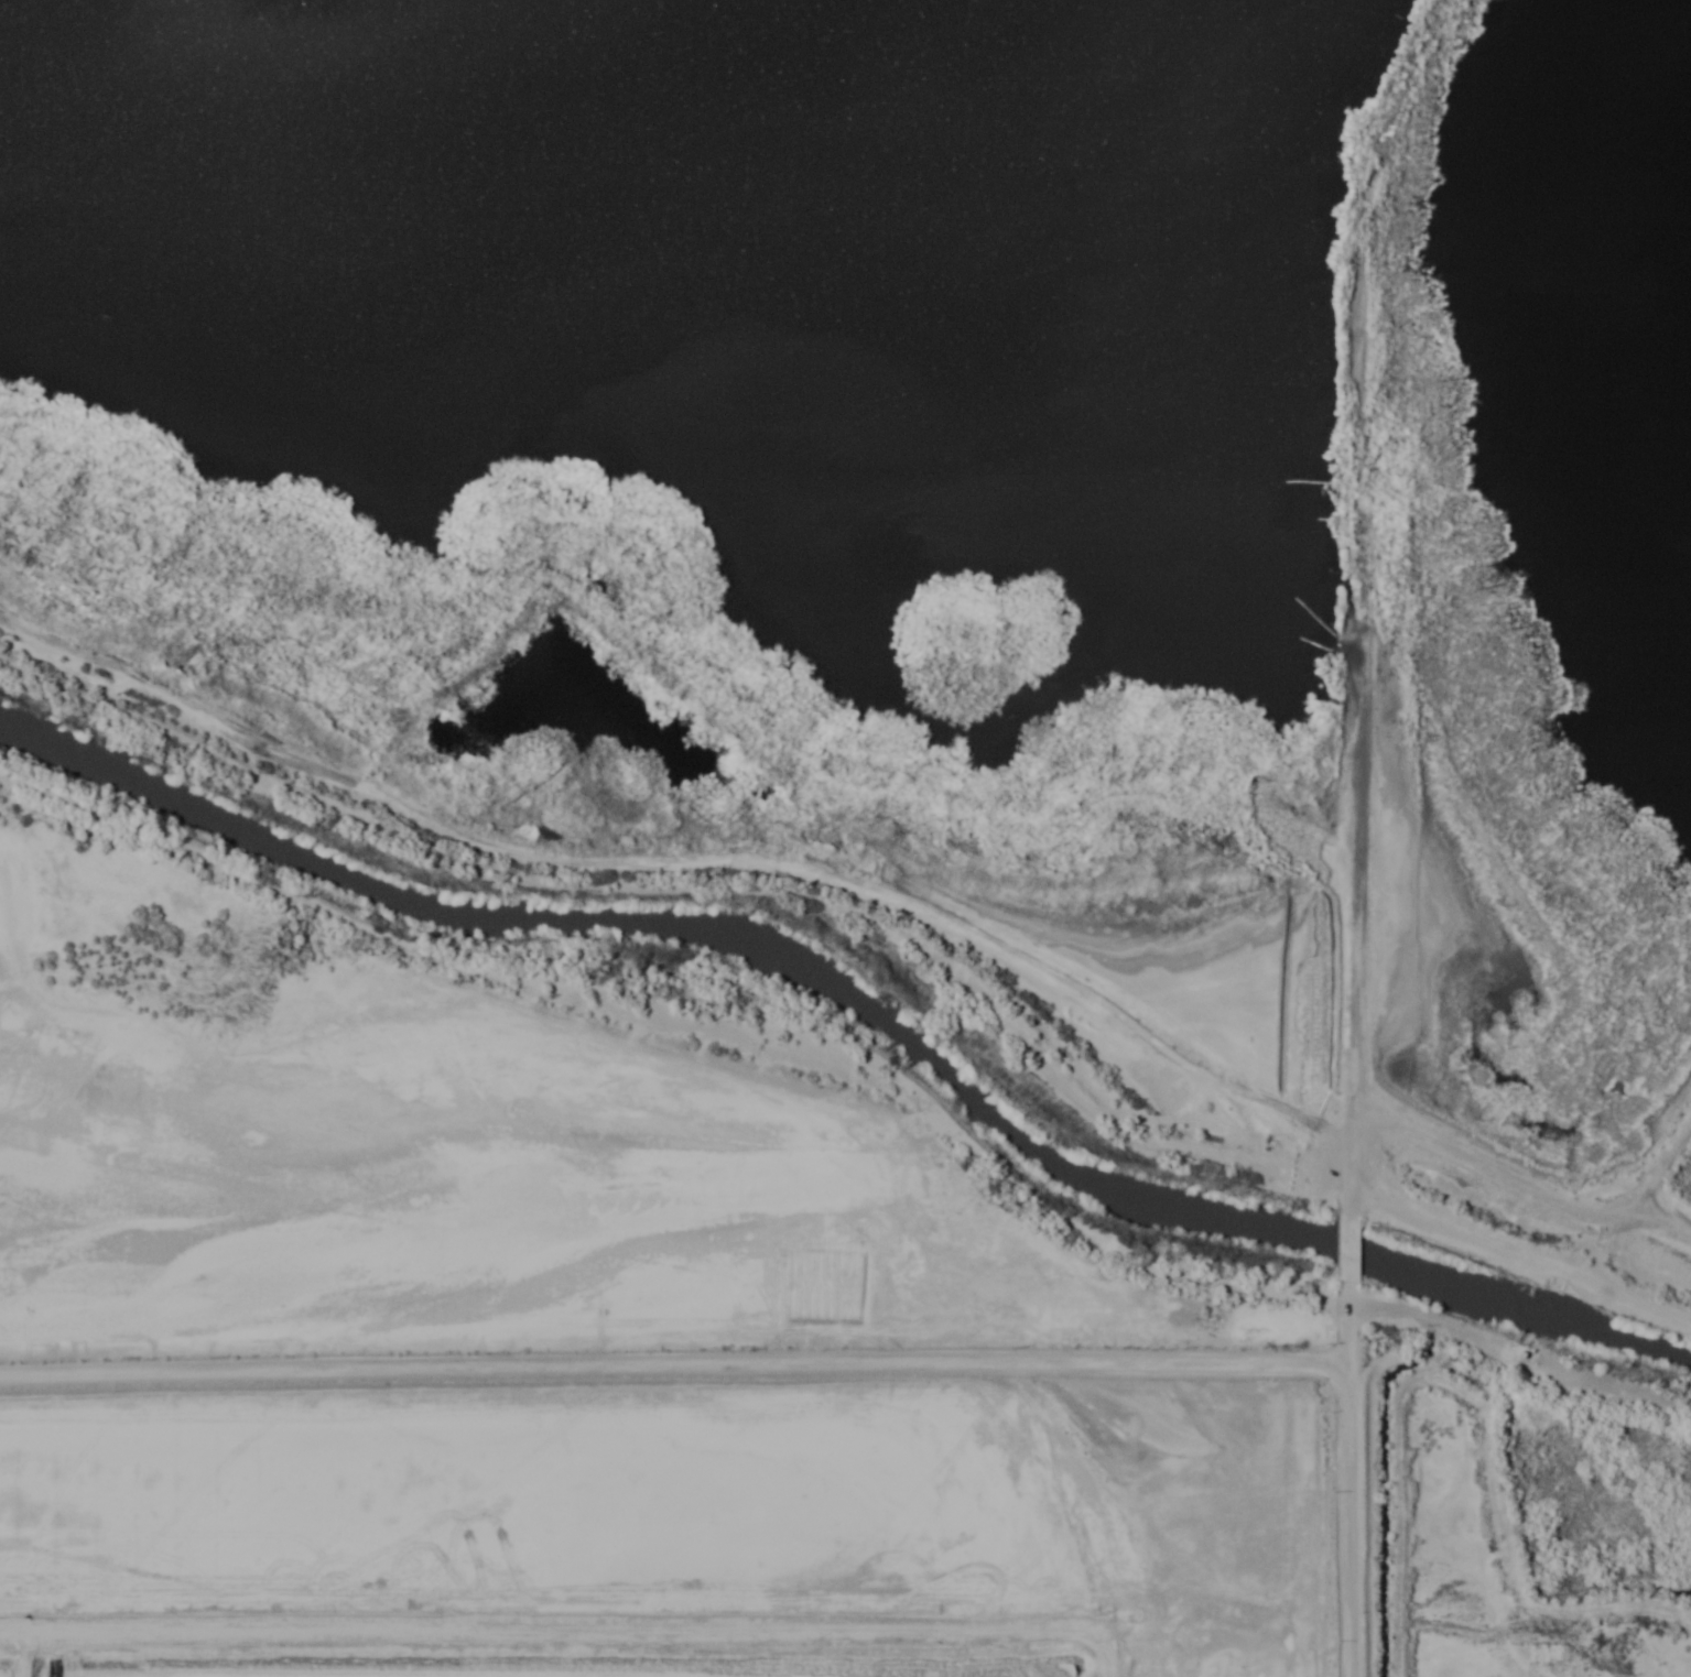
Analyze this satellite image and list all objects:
road: (698, 886)
road: (1343, 976)
river: (878, 983)
road: (1353, 1242)
road: (1521, 1265)
road: (676, 1365)
road: (1352, 1481)

